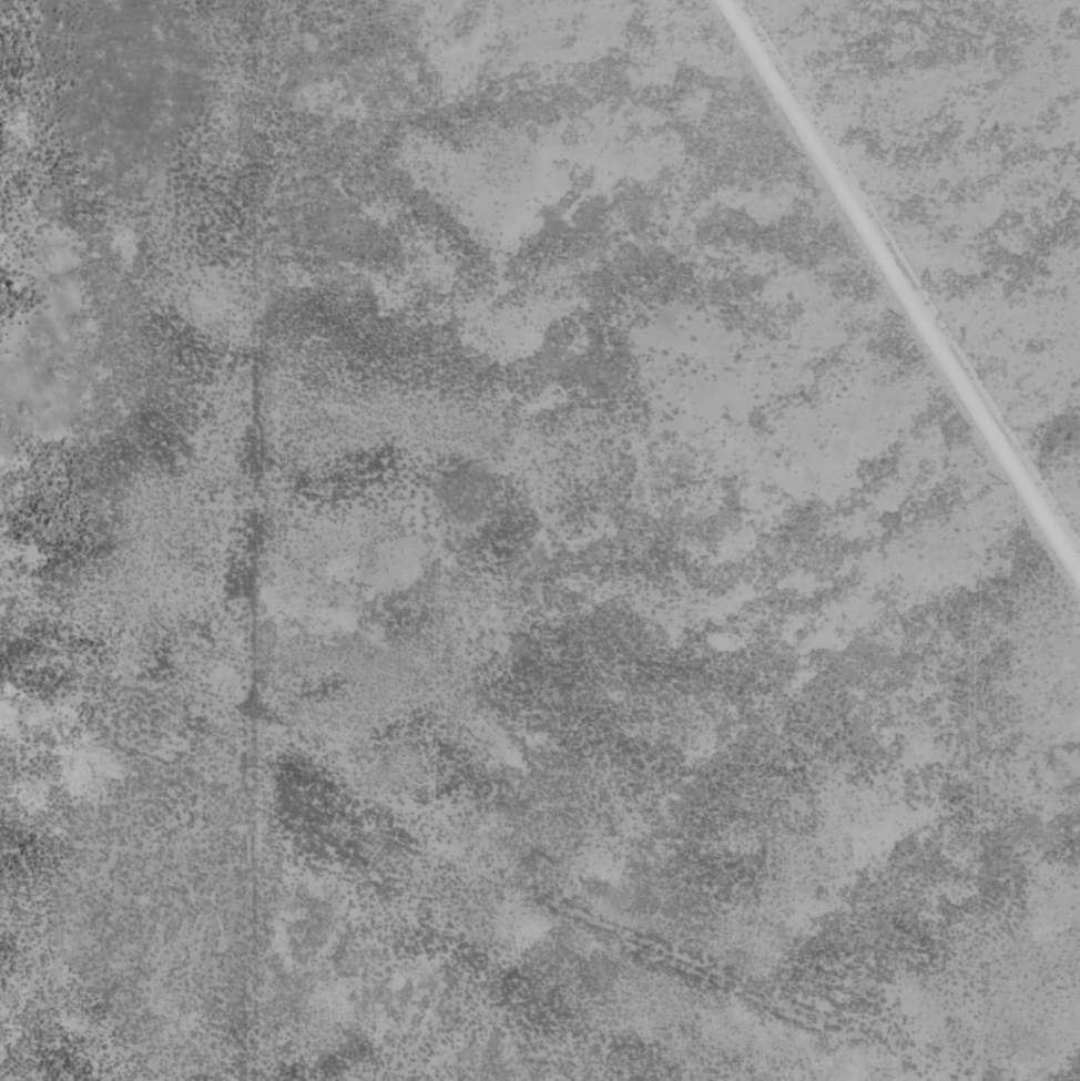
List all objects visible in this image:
road: (18, 99)

